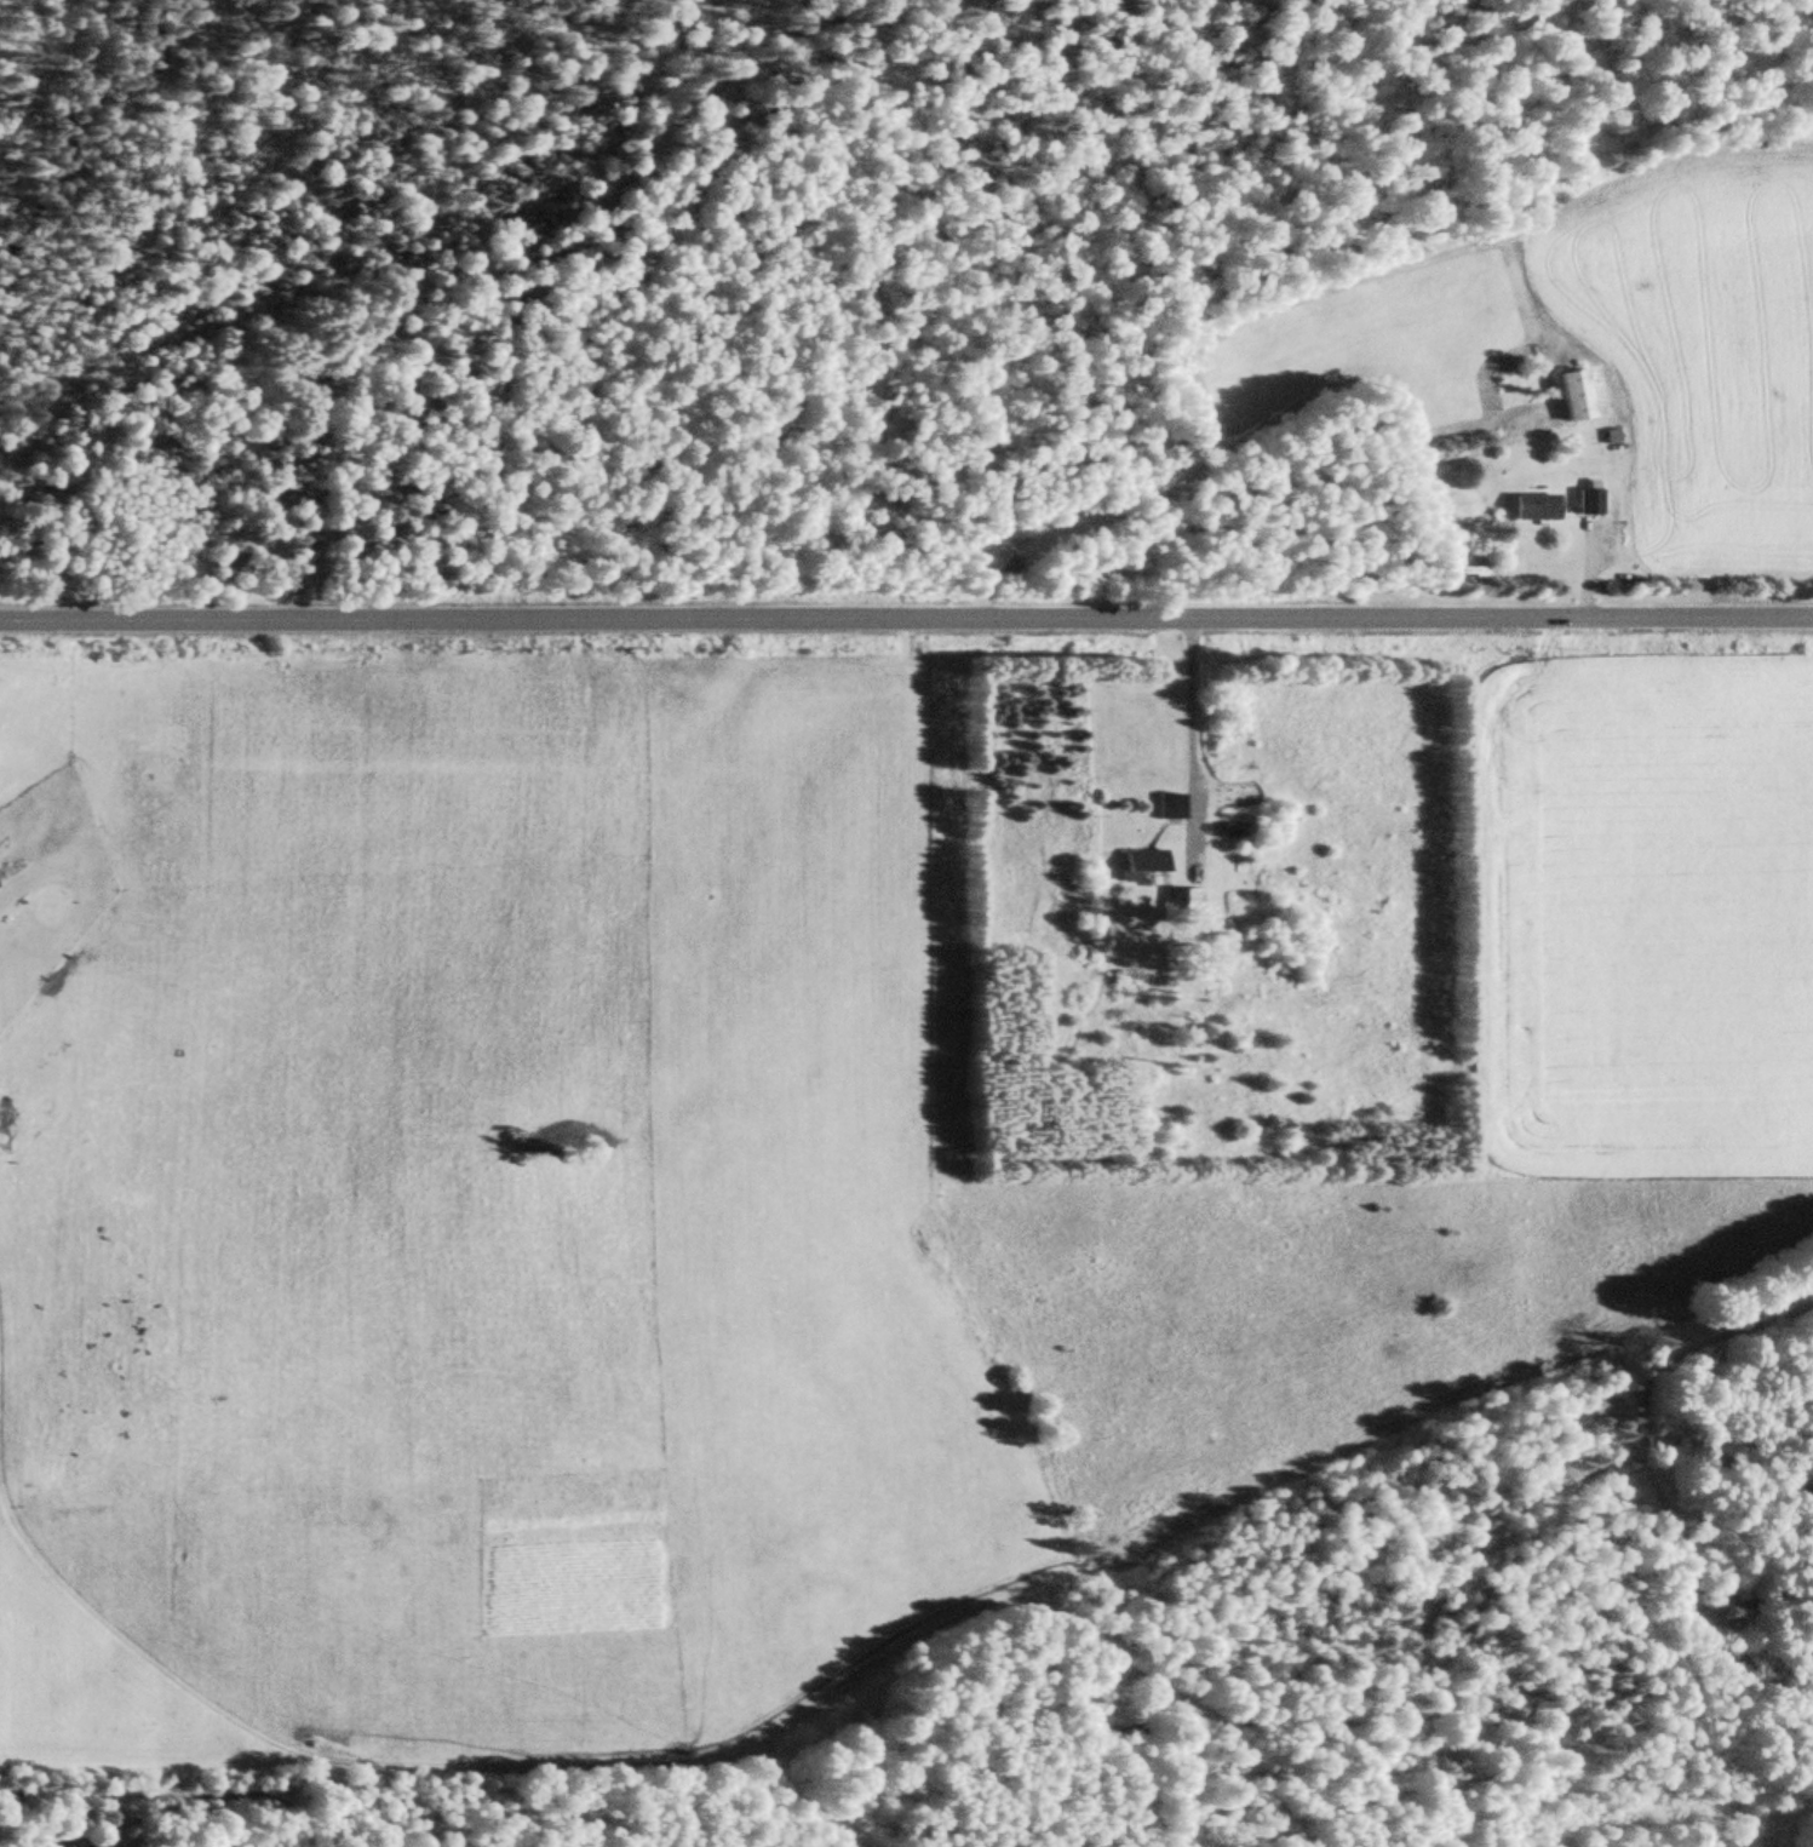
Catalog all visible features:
building: (1577, 397)
building: (1590, 503)
building: (1537, 507)
road: (906, 615)
building: (1146, 862)

